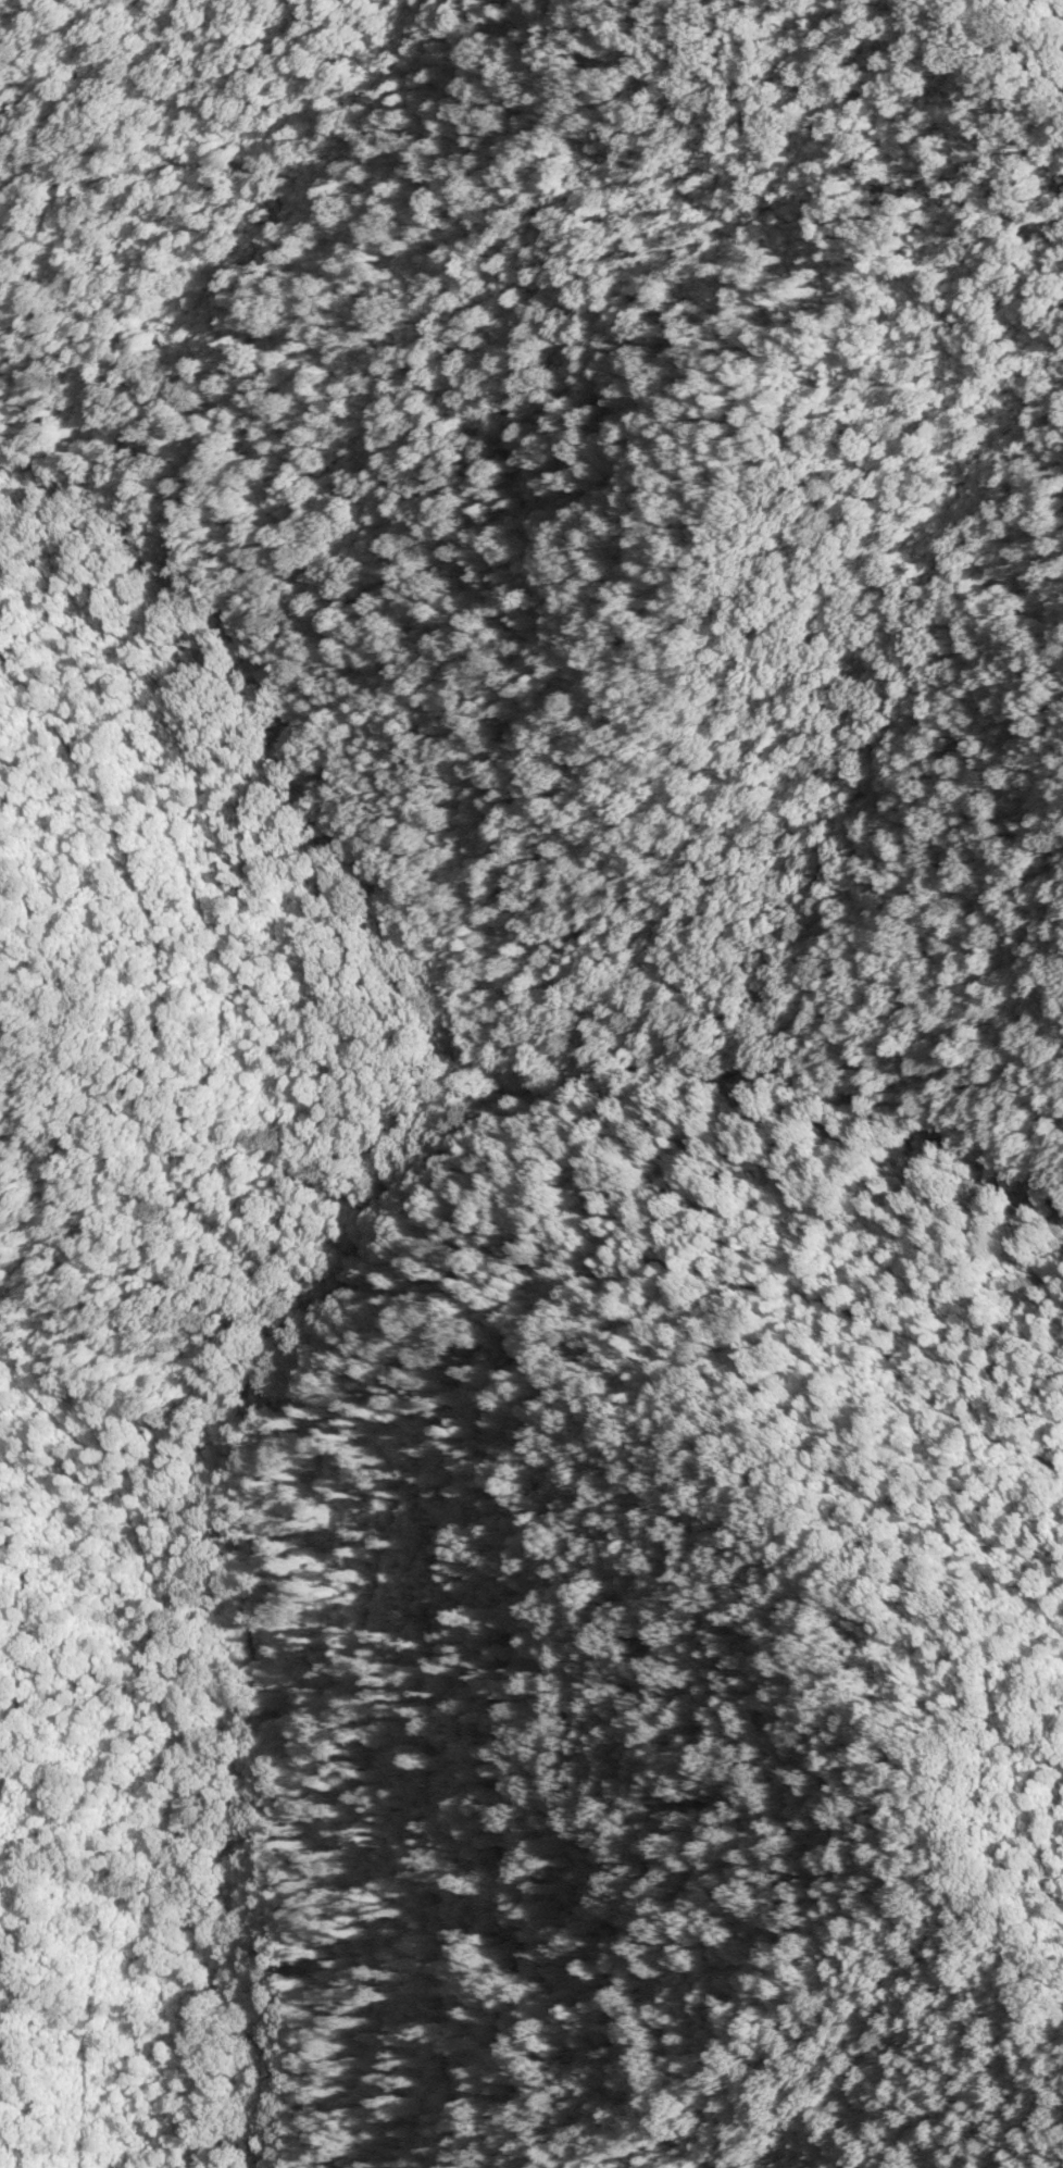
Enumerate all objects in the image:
road: (866, 98)

